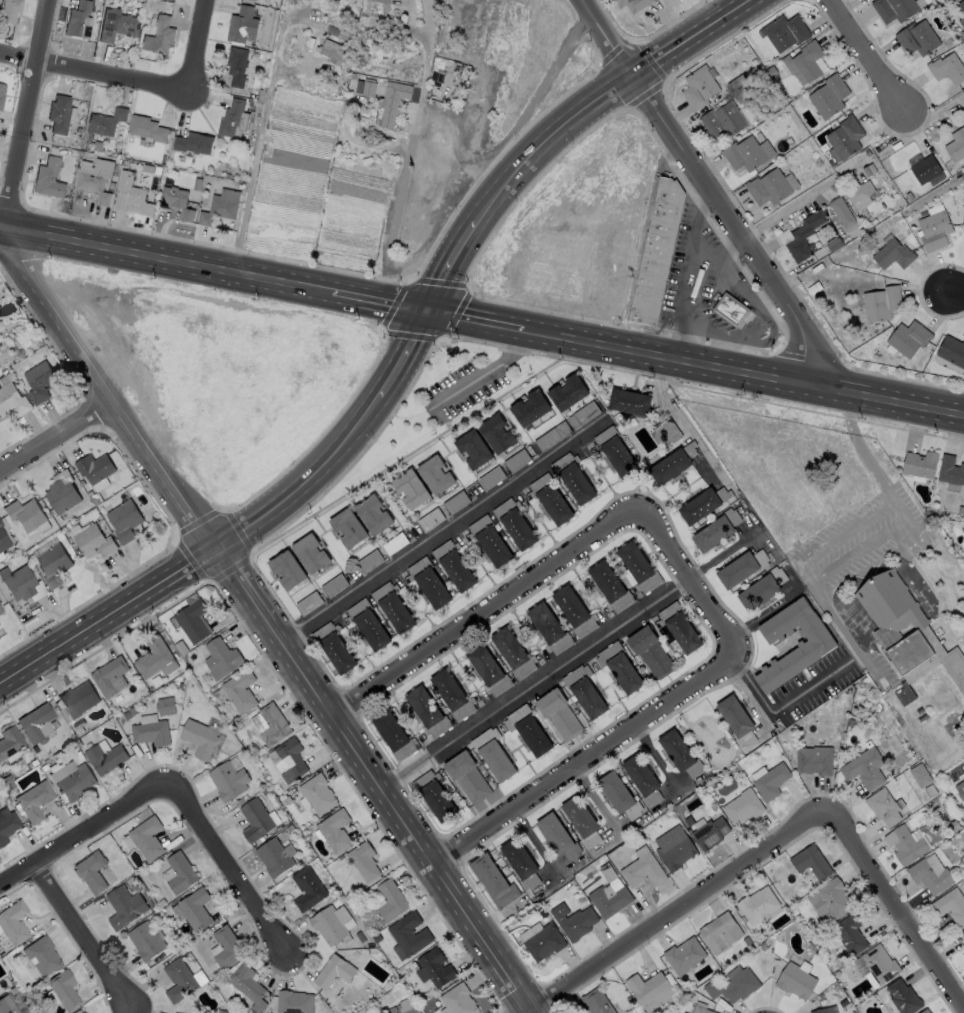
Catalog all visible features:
building: (251, 0)
building: (385, 1)
building: (632, 4)
building: (962, 6)
building: (894, 9)
building: (9, 11)
building: (78, 20)
building: (962, 21)
building: (241, 23)
building: (119, 28)
building: (783, 31)
building: (159, 37)
building: (916, 38)
road: (192, 47)
building: (331, 49)
road: (866, 60)
building: (802, 62)
building: (236, 65)
building: (946, 68)
road: (91, 72)
building: (697, 86)
building: (365, 88)
building: (1, 91)
building: (827, 95)
road: (598, 98)
building: (393, 99)
building: (58, 114)
road: (28, 115)
building: (232, 119)
building: (721, 119)
building: (104, 121)
crop: (397, 122)
building: (145, 128)
road: (259, 131)
building: (843, 138)
building: (192, 143)
building: (957, 146)
road: (409, 151)
building: (742, 153)
building: (923, 168)
building: (94, 177)
building: (48, 179)
building: (767, 187)
road: (717, 190)
building: (858, 191)
building: (127, 194)
building: (176, 201)
road: (794, 204)
building: (219, 206)
building: (841, 212)
building: (933, 230)
building: (802, 235)
road: (722, 249)
building: (656, 252)
building: (891, 254)
road: (165, 261)
road: (450, 266)
road: (696, 272)
road: (956, 293)
road: (380, 301)
building: (880, 303)
building: (730, 309)
traffic signals: (429, 311)
road: (475, 319)
building: (907, 338)
building: (951, 350)
road: (404, 354)
road: (743, 370)
road: (485, 372)
building: (39, 380)
building: (566, 391)
road: (106, 394)
building: (11, 397)
building: (628, 401)
building: (529, 407)
building: (582, 415)
building: (495, 433)
building: (664, 433)
road: (55, 436)
building: (472, 448)
road: (860, 448)
building: (614, 451)
building: (672, 463)
building: (919, 463)
building: (93, 467)
building: (950, 469)
building: (434, 474)
building: (572, 478)
road: (308, 483)
building: (410, 488)
building: (61, 492)
building: (550, 499)
building: (455, 502)
building: (703, 504)
building: (24, 514)
building: (372, 514)
building: (123, 520)
building: (514, 523)
building: (0, 524)
building: (346, 527)
building: (714, 530)
road: (442, 534)
building: (3, 541)
building: (93, 541)
building: (488, 541)
building: (308, 552)
building: (52, 564)
building: (452, 565)
building: (637, 566)
building: (740, 567)
building: (285, 569)
road: (687, 576)
building: (17, 581)
road: (812, 581)
building: (427, 582)
building: (334, 585)
building: (609, 586)
road: (243, 587)
building: (760, 588)
building: (392, 607)
road: (485, 608)
building: (891, 608)
building: (0, 610)
building: (573, 610)
road: (762, 614)
road: (109, 618)
building: (192, 620)
building: (366, 624)
building: (678, 627)
building: (548, 628)
road: (845, 634)
building: (814, 645)
building: (333, 647)
building: (649, 651)
building: (512, 652)
building: (152, 657)
building: (222, 659)
building: (618, 666)
building: (487, 670)
building: (109, 676)
road: (537, 685)
building: (241, 690)
building: (583, 690)
building: (451, 694)
building: (904, 694)
building: (77, 699)
building: (165, 706)
road: (779, 708)
building: (426, 711)
building: (558, 713)
building: (735, 720)
building: (34, 722)
building: (275, 725)
building: (527, 729)
building: (150, 732)
building: (393, 735)
building: (200, 738)
building: (9, 741)
building: (492, 754)
road: (584, 754)
building: (678, 754)
building: (104, 758)
building: (813, 759)
building: (288, 763)
building: (863, 768)
building: (920, 775)
building: (467, 777)
building: (642, 778)
building: (229, 781)
building: (770, 781)
building: (74, 782)
road: (172, 787)
building: (959, 788)
building: (618, 794)
building: (434, 795)
building: (316, 799)
building: (33, 800)
building: (881, 806)
building: (741, 807)
road: (403, 817)
building: (256, 820)
building: (581, 820)
building: (7, 825)
building: (709, 832)
building: (334, 834)
building: (557, 836)
building: (147, 838)
building: (904, 845)
building: (674, 851)
road: (588, 858)
building: (276, 861)
building: (810, 861)
building: (520, 862)
building: (362, 865)
building: (642, 870)
building: (92, 872)
building: (181, 873)
building: (929, 875)
building: (491, 880)
building: (308, 892)
road: (74, 900)
building: (608, 900)
building: (830, 900)
building: (389, 902)
building: (757, 905)
building: (950, 905)
road: (899, 907)
building: (125, 908)
building: (194, 910)
road: (681, 910)
road: (91, 911)
road: (43, 919)
building: (13, 921)
building: (572, 921)
building: (331, 927)
road: (62, 930)
building: (719, 932)
building: (849, 932)
road: (81, 935)
building: (962, 936)
building: (408, 940)
building: (145, 941)
building: (543, 942)
building: (228, 947)
building: (683, 955)
building: (963, 955)
building: (43, 957)
building: (878, 964)
road: (124, 969)
building: (435, 969)
building: (334, 971)
building: (180, 980)
building: (794, 981)
road: (95, 985)
road: (146, 985)
building: (247, 986)
building: (733, 986)
building: (647, 987)
building: (64, 988)
building: (902, 996)
building: (294, 1002)
building: (456, 1002)
building: (595, 1002)
building: (6, 1005)
building: (700, 1008)
road: (128, 1010)
road: (130, 1010)
road: (136, 1010)
building: (824, 1010)
building: (413, 1011)
building: (924, 1011)
building: (83, 1012)

